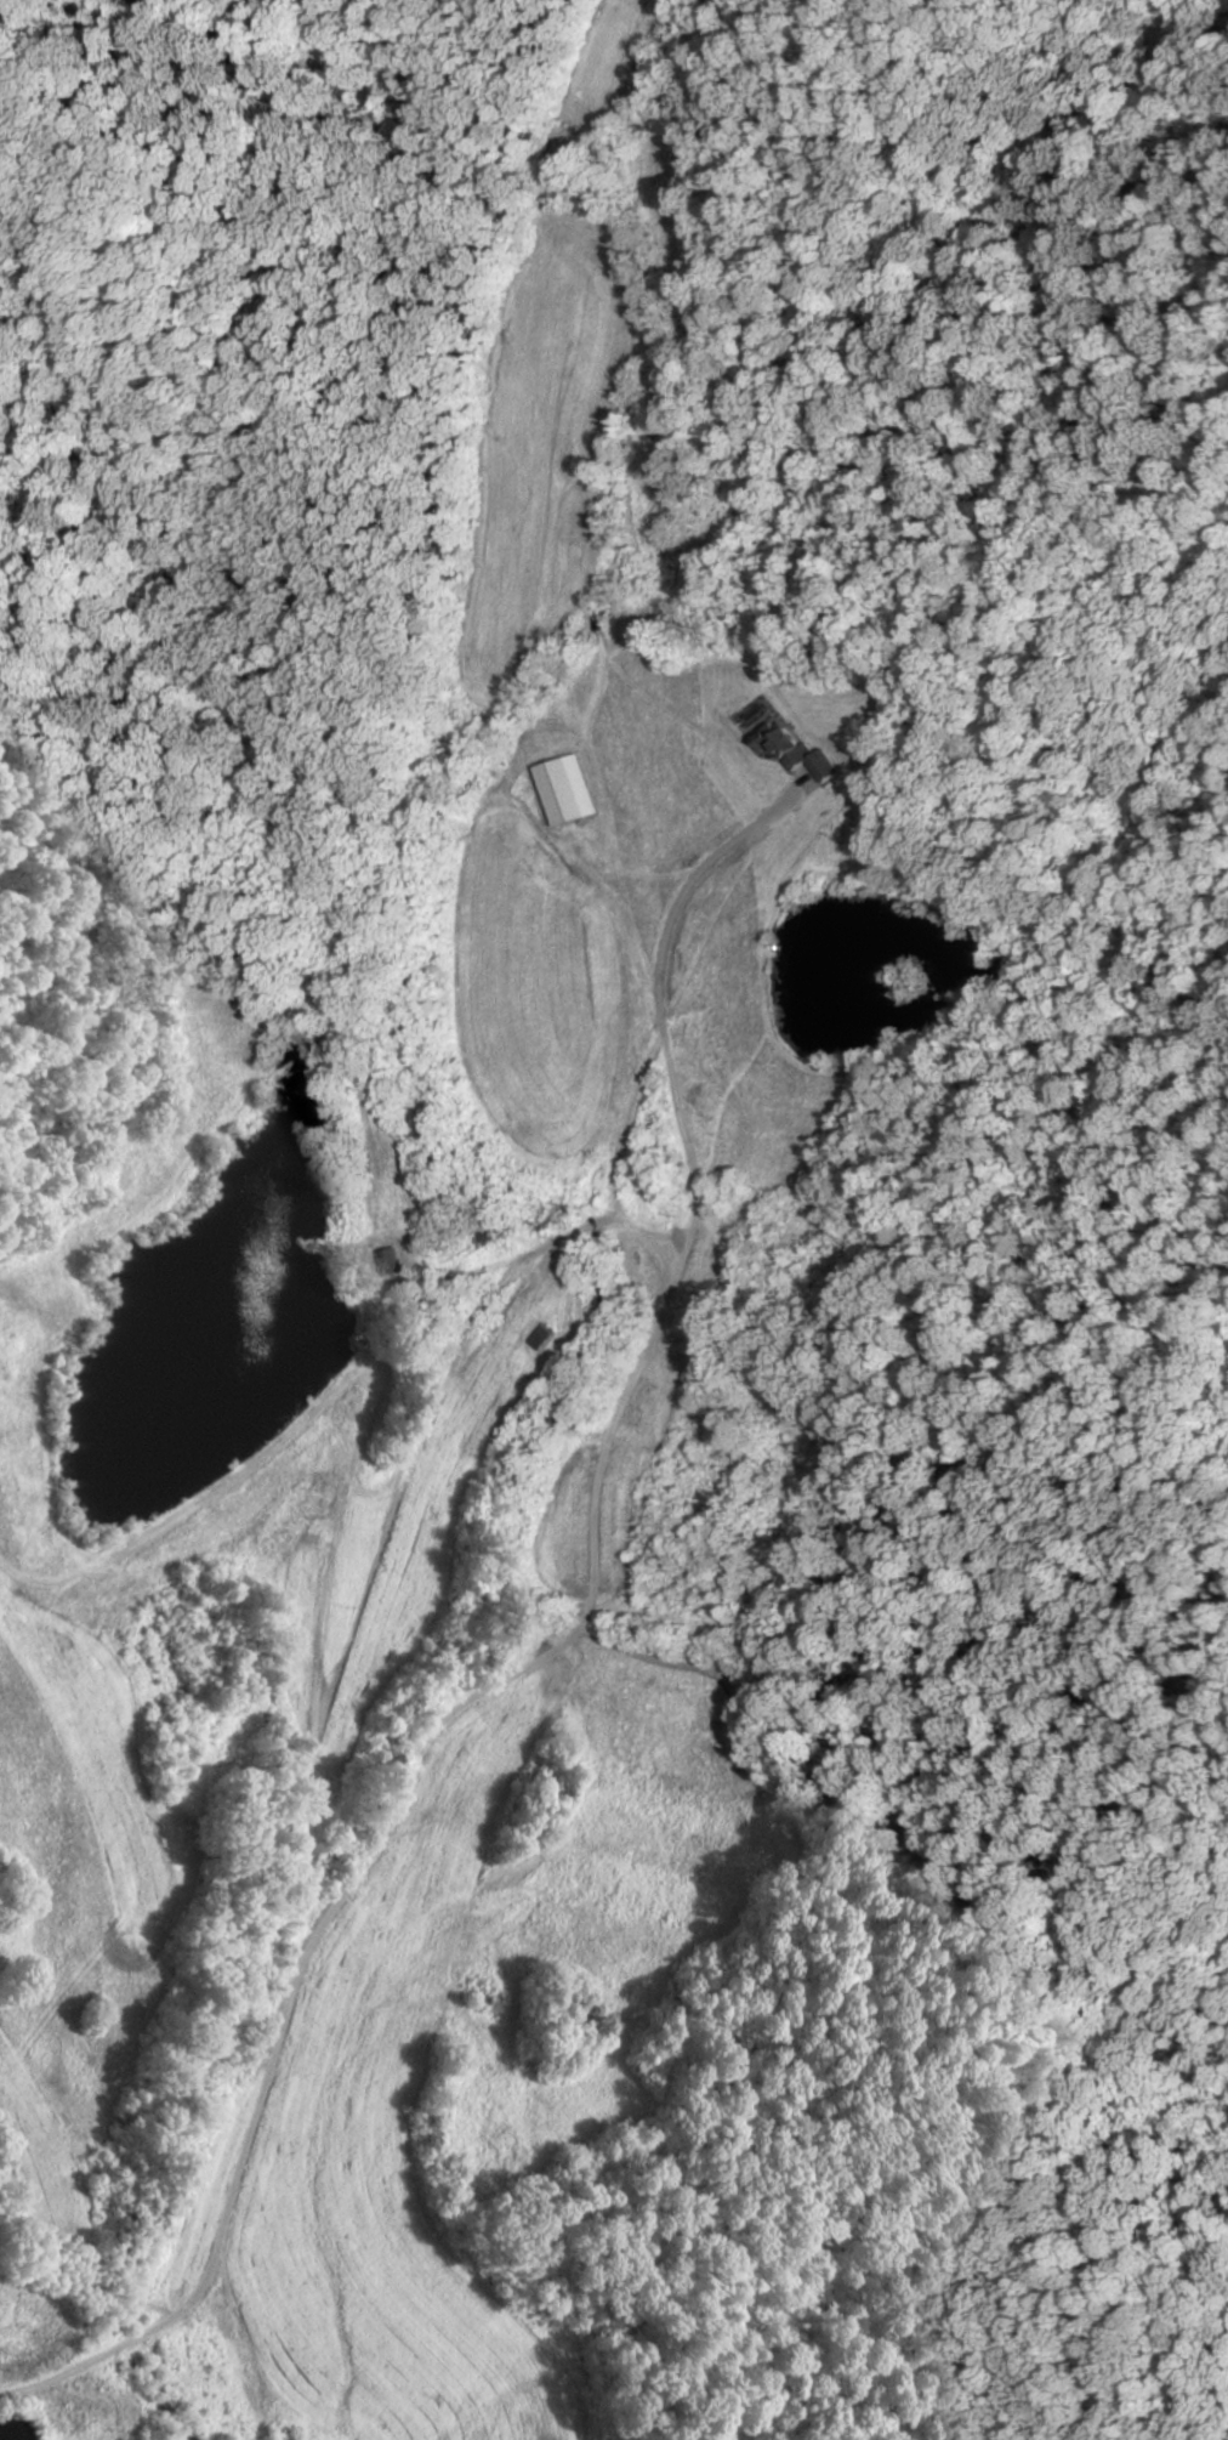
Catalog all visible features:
building: (795, 754)
building: (555, 790)
building: (382, 1260)
road: (524, 1656)

